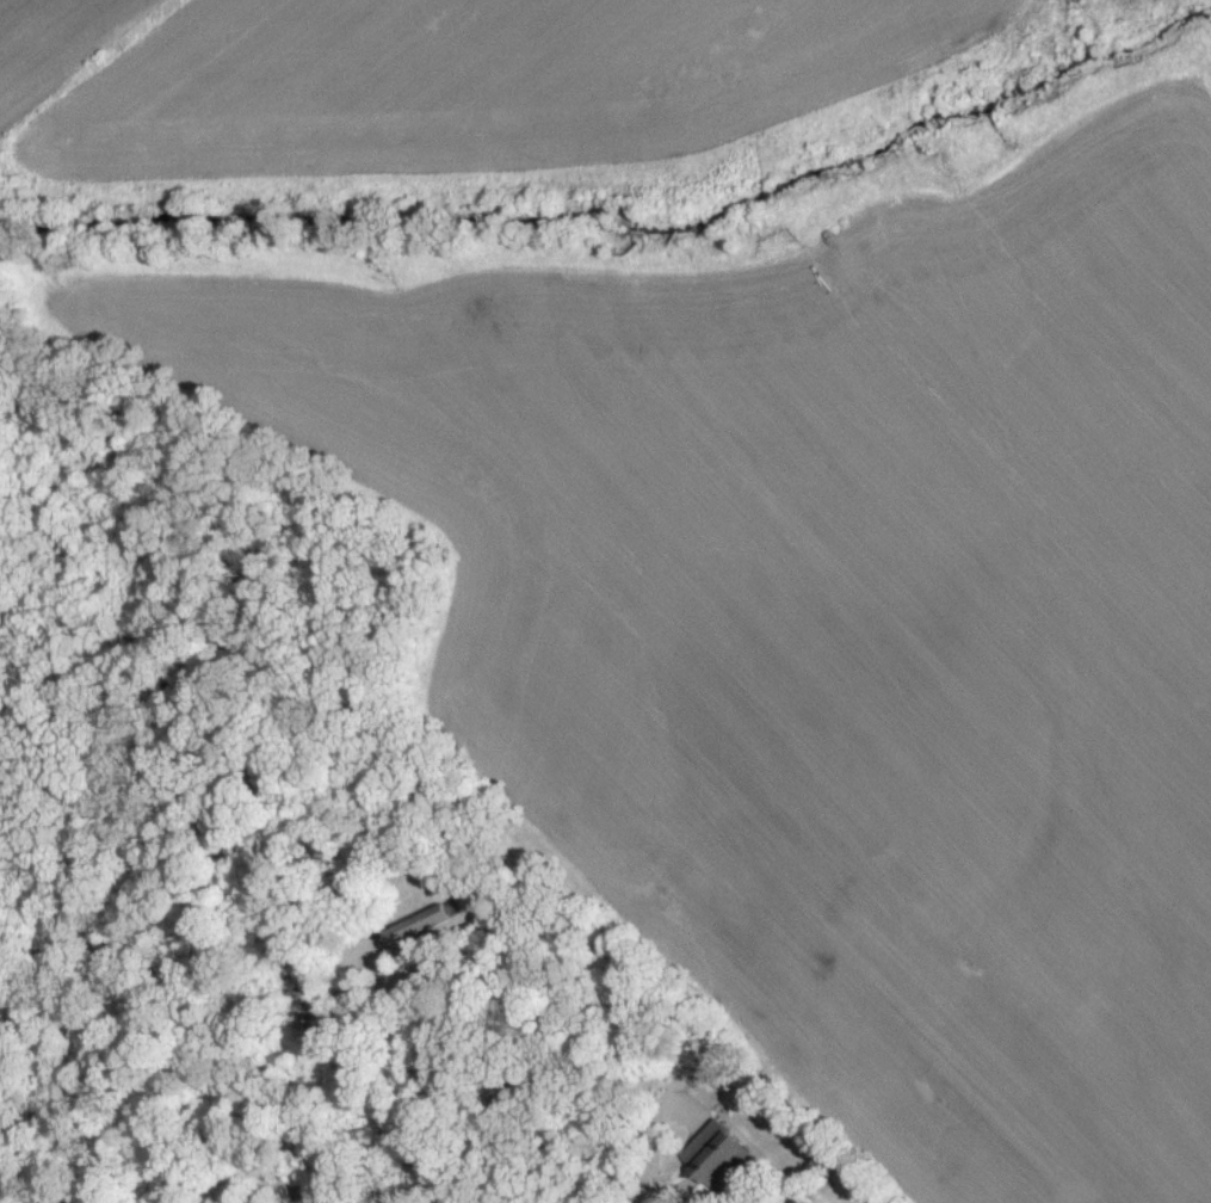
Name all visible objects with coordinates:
building: (415, 932)
road: (430, 1066)
road: (717, 1080)

